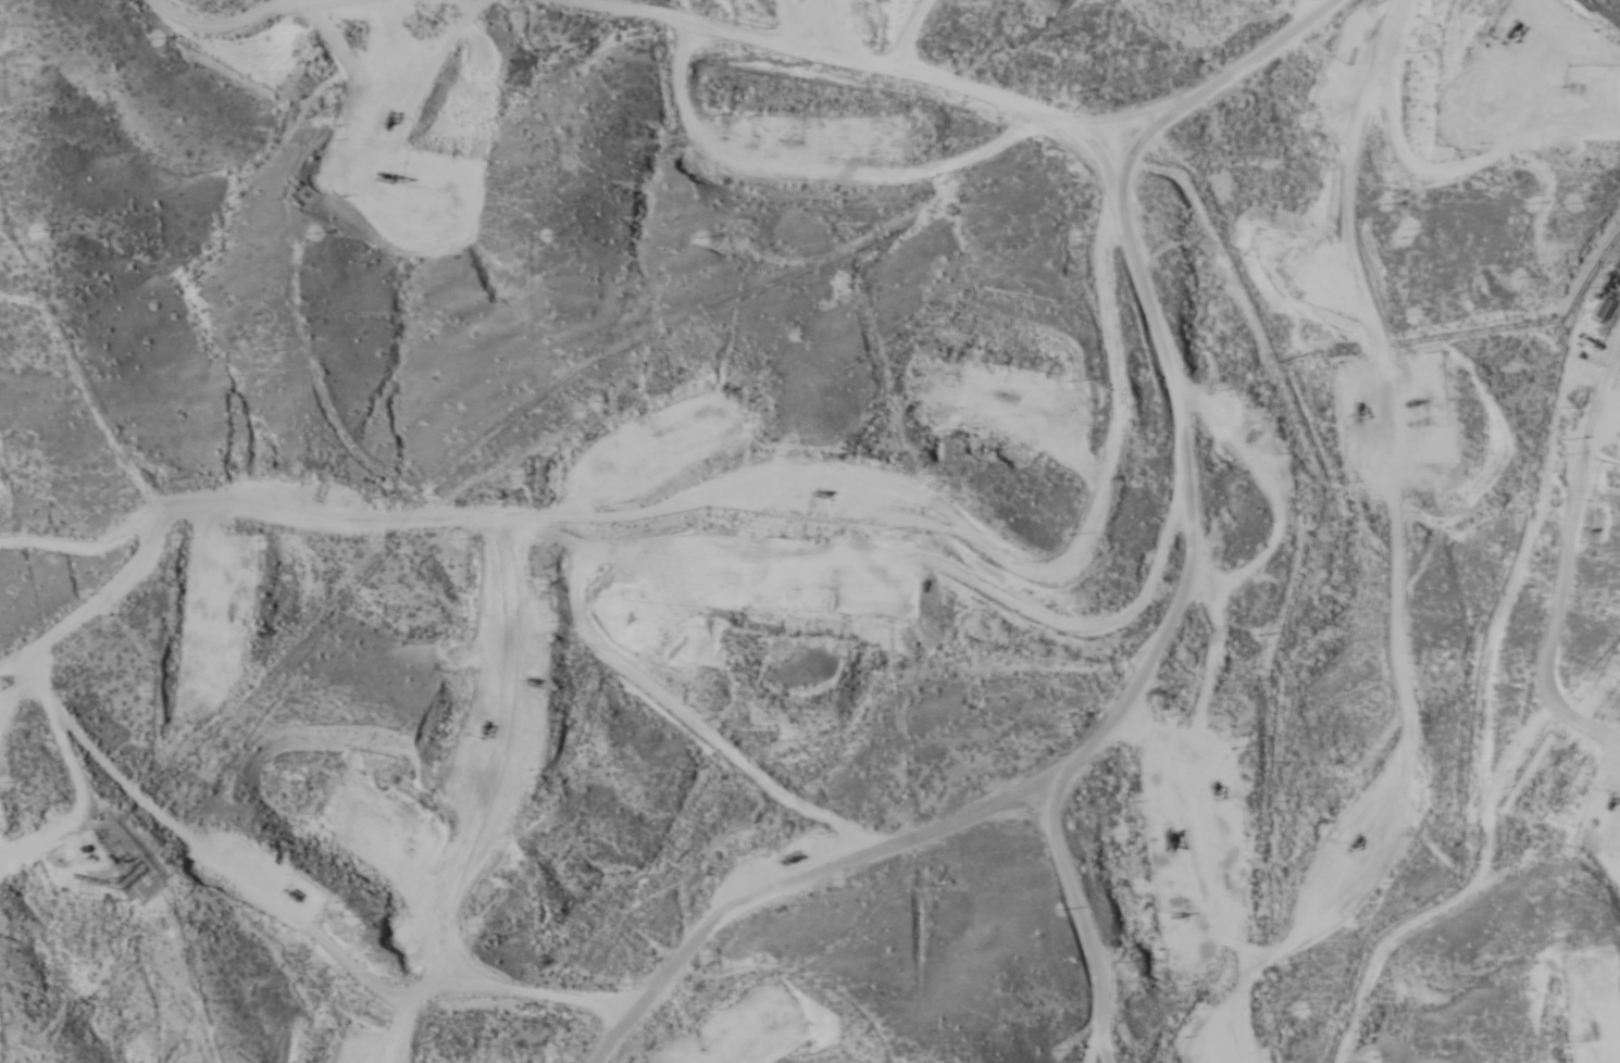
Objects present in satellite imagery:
road: (1024, 85)
road: (1554, 228)
road: (1112, 309)
building: (1605, 309)
road: (652, 547)
road: (1463, 570)
road: (973, 792)

